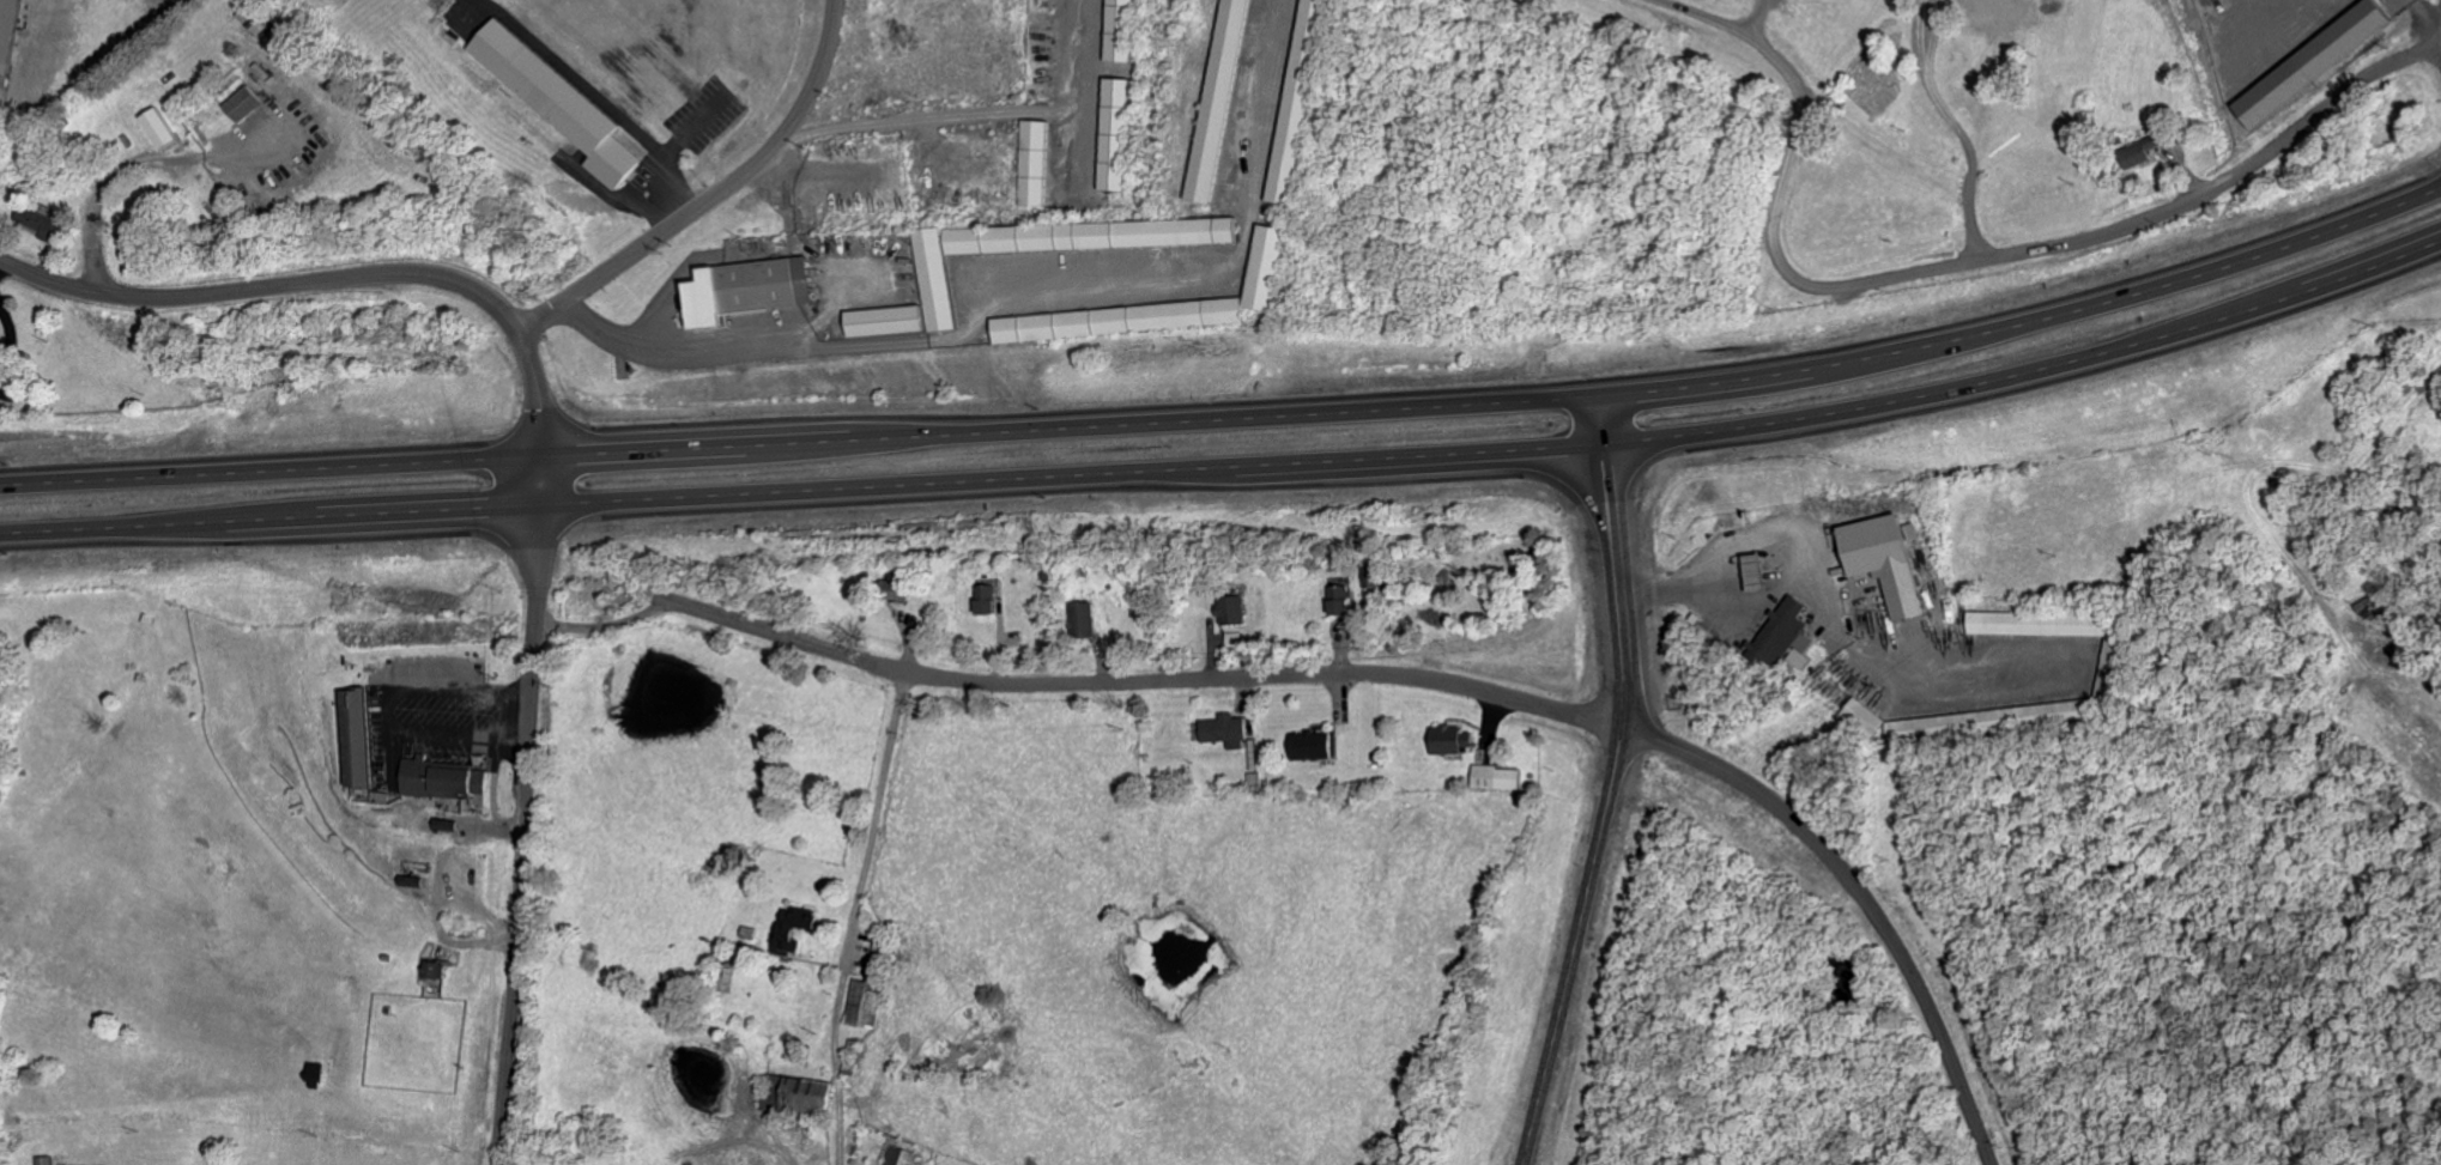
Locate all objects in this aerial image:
building: (2003, 11)
road: (1756, 19)
building: (1121, 31)
building: (10, 34)
building: (2349, 40)
building: (478, 81)
building: (1220, 102)
building: (1300, 102)
building: (561, 103)
road: (979, 113)
road: (1957, 127)
building: (159, 131)
building: (1116, 136)
building: (2143, 153)
building: (1034, 165)
road: (117, 174)
road: (2219, 186)
road: (711, 192)
road: (1781, 192)
building: (44, 225)
building: (1095, 237)
building: (935, 268)
building: (1265, 269)
road: (1006, 272)
road: (349, 275)
building: (751, 291)
building: (1119, 322)
road: (1234, 415)
road: (1232, 467)
road: (1613, 560)
building: (1891, 563)
road: (1827, 597)
building: (988, 602)
building: (1345, 602)
building: (1232, 612)
building: (1085, 620)
building: (2039, 626)
building: (1787, 638)
building: (1235, 642)
road: (1076, 686)
road: (462, 694)
road: (392, 715)
building: (1866, 720)
building: (1226, 733)
road: (460, 740)
building: (358, 741)
building: (1452, 741)
building: (1318, 748)
building: (1502, 779)
building: (443, 781)
road: (523, 829)
road: (1860, 898)
road: (854, 917)
building: (796, 932)
road: (1574, 947)
building: (436, 973)
building: (865, 1003)
building: (800, 1099)
building: (43, 1161)

